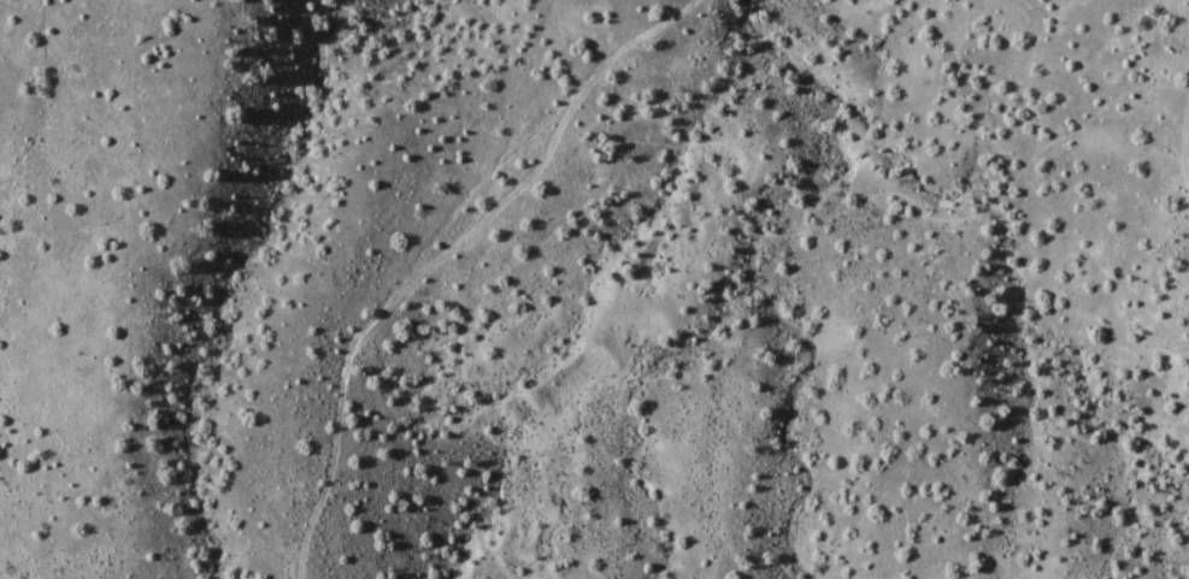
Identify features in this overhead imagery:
road: (437, 261)

